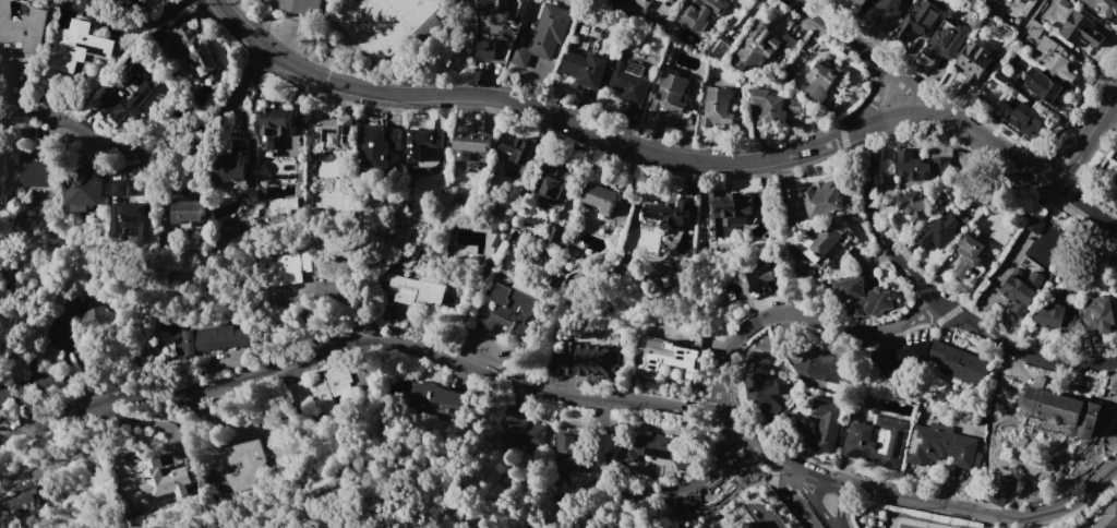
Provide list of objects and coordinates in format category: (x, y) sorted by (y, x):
building: (116, 0)
building: (1012, 0)
building: (123, 2)
building: (642, 2)
building: (988, 2)
building: (856, 3)
building: (297, 4)
building: (490, 7)
building: (1108, 9)
building: (698, 12)
building: (888, 13)
building: (918, 22)
building: (23, 26)
road: (242, 26)
building: (429, 27)
road: (129, 28)
building: (1033, 28)
building: (1080, 29)
building: (543, 35)
building: (521, 38)
building: (945, 40)
building: (77, 46)
building: (170, 46)
building: (764, 46)
building: (485, 49)
road: (861, 52)
building: (197, 53)
building: (1053, 58)
building: (973, 61)
building: (584, 68)
building: (628, 81)
building: (824, 83)
building: (1047, 88)
road: (374, 91)
building: (670, 93)
road: (877, 97)
building: (132, 100)
building: (773, 106)
building: (717, 107)
building: (1020, 117)
building: (275, 125)
building: (335, 132)
road: (1084, 139)
building: (422, 142)
building: (469, 144)
road: (994, 144)
building: (372, 146)
building: (515, 147)
road: (151, 148)
road: (709, 163)
building: (233, 164)
building: (921, 167)
building: (32, 172)
building: (2, 177)
building: (1114, 181)
building: (552, 184)
building: (83, 187)
building: (600, 197)
building: (819, 200)
building: (911, 204)
road: (1085, 205)
building: (188, 211)
building: (129, 213)
building: (730, 213)
building: (671, 214)
building: (1033, 223)
building: (941, 231)
building: (554, 233)
building: (821, 243)
building: (970, 253)
building: (283, 267)
building: (1052, 275)
building: (754, 276)
building: (1116, 285)
building: (1022, 288)
building: (416, 290)
building: (863, 298)
road: (934, 300)
building: (67, 308)
building: (508, 309)
building: (1052, 315)
building: (1101, 316)
building: (95, 317)
road: (748, 322)
building: (221, 337)
road: (359, 339)
building: (183, 343)
building: (912, 352)
building: (48, 353)
building: (670, 357)
building: (884, 357)
building: (588, 362)
building: (960, 364)
building: (825, 368)
building: (43, 379)
building: (761, 388)
building: (317, 389)
building: (4, 395)
building: (437, 400)
building: (1062, 412)
building: (794, 427)
building: (521, 431)
building: (876, 441)
building: (939, 446)
building: (570, 449)
building: (657, 449)
building: (245, 463)
road: (786, 472)
building: (160, 480)
road: (663, 492)
building: (23, 501)
road: (818, 502)
road: (801, 504)
road: (838, 505)
road: (968, 509)
building: (1107, 517)
building: (745, 525)
road: (833, 527)

